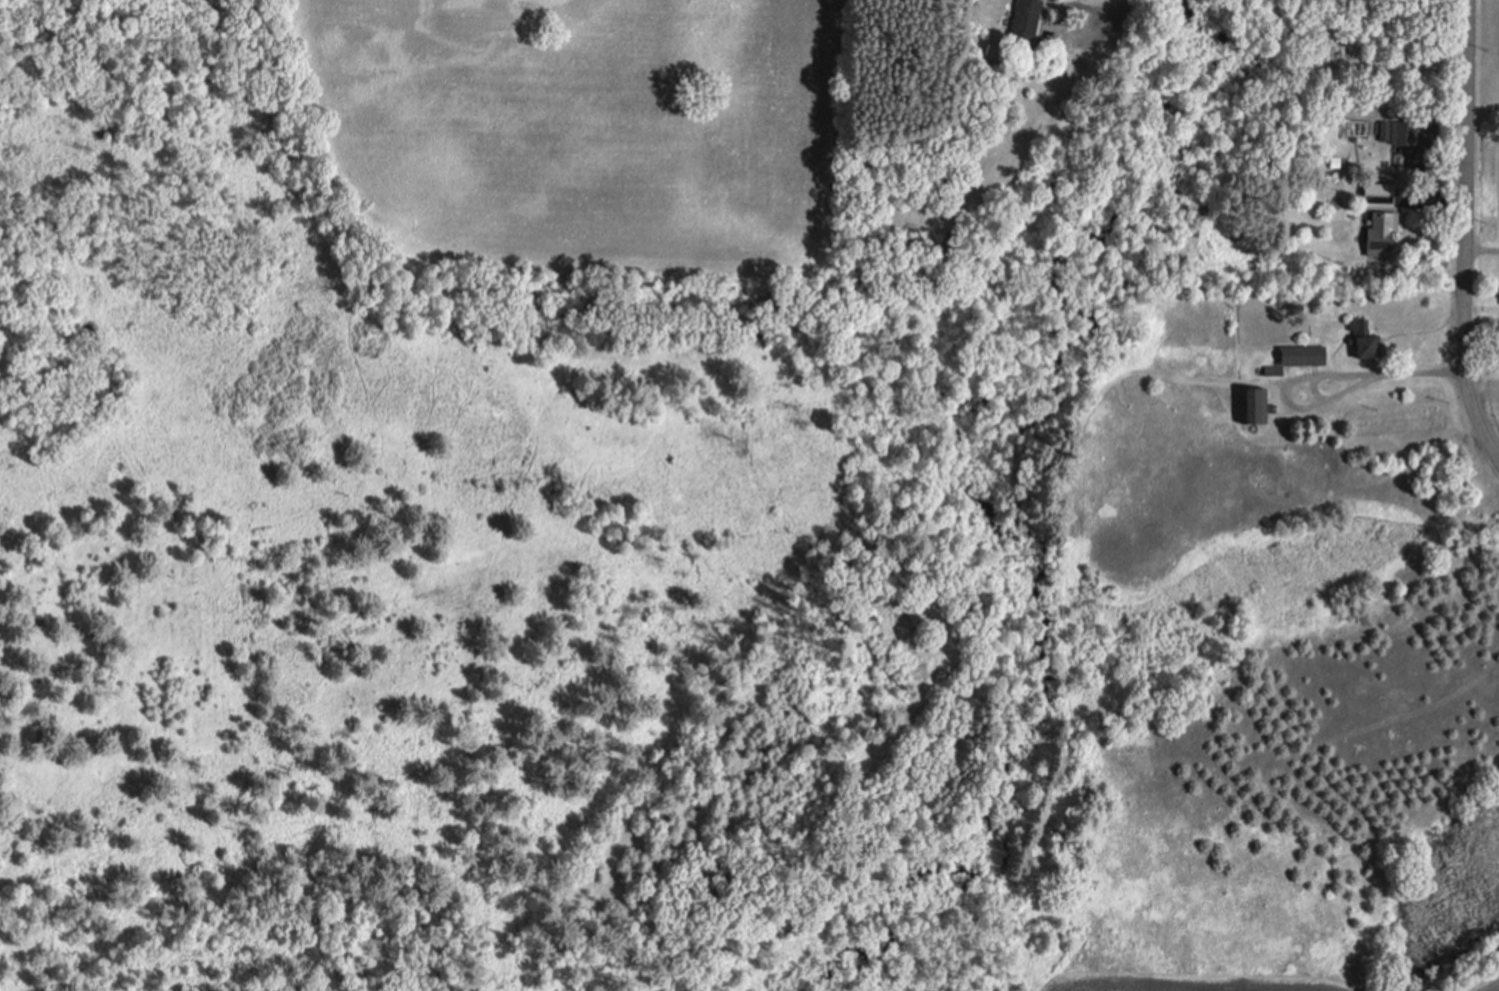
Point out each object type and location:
road: (1112, 15)
building: (1023, 19)
building: (1412, 132)
building: (1377, 195)
road: (1465, 234)
building: (1361, 340)
building: (1301, 356)
road: (1320, 372)
building: (1251, 406)

